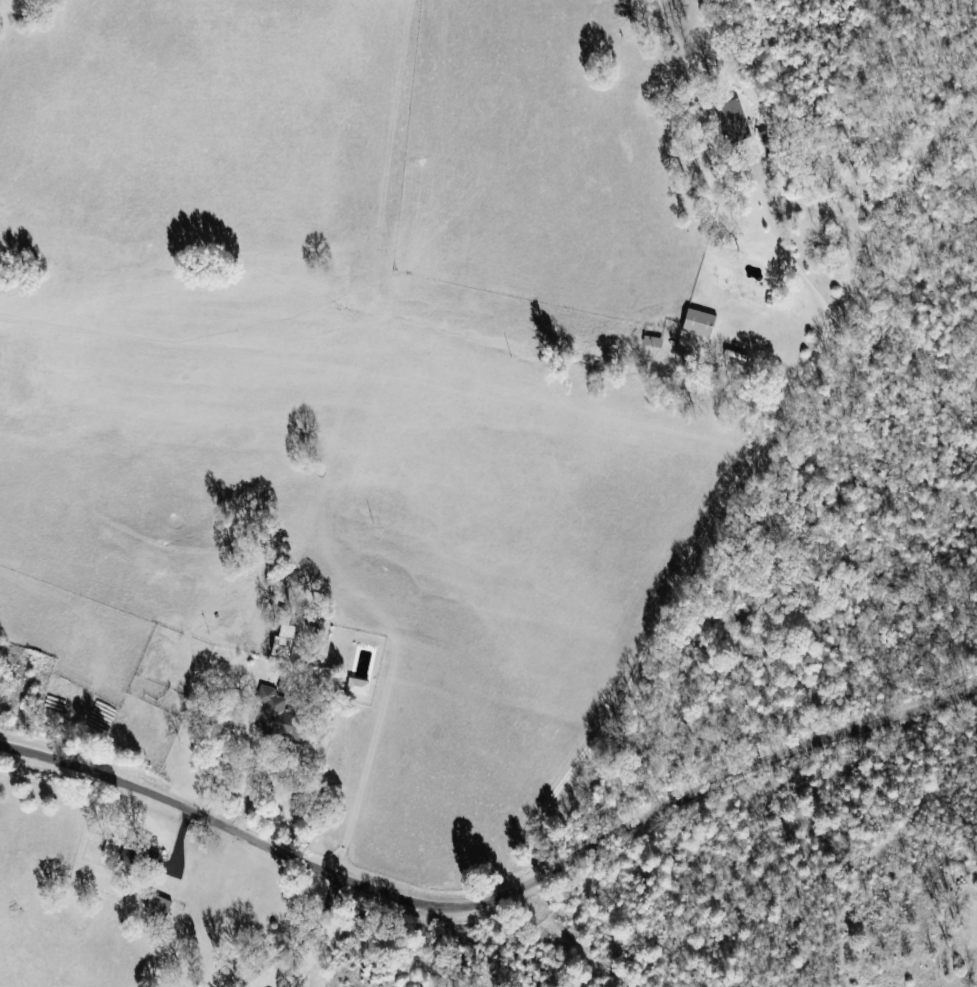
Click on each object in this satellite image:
building: (703, 324)
building: (361, 687)
building: (280, 704)
building: (138, 855)
road: (495, 896)

